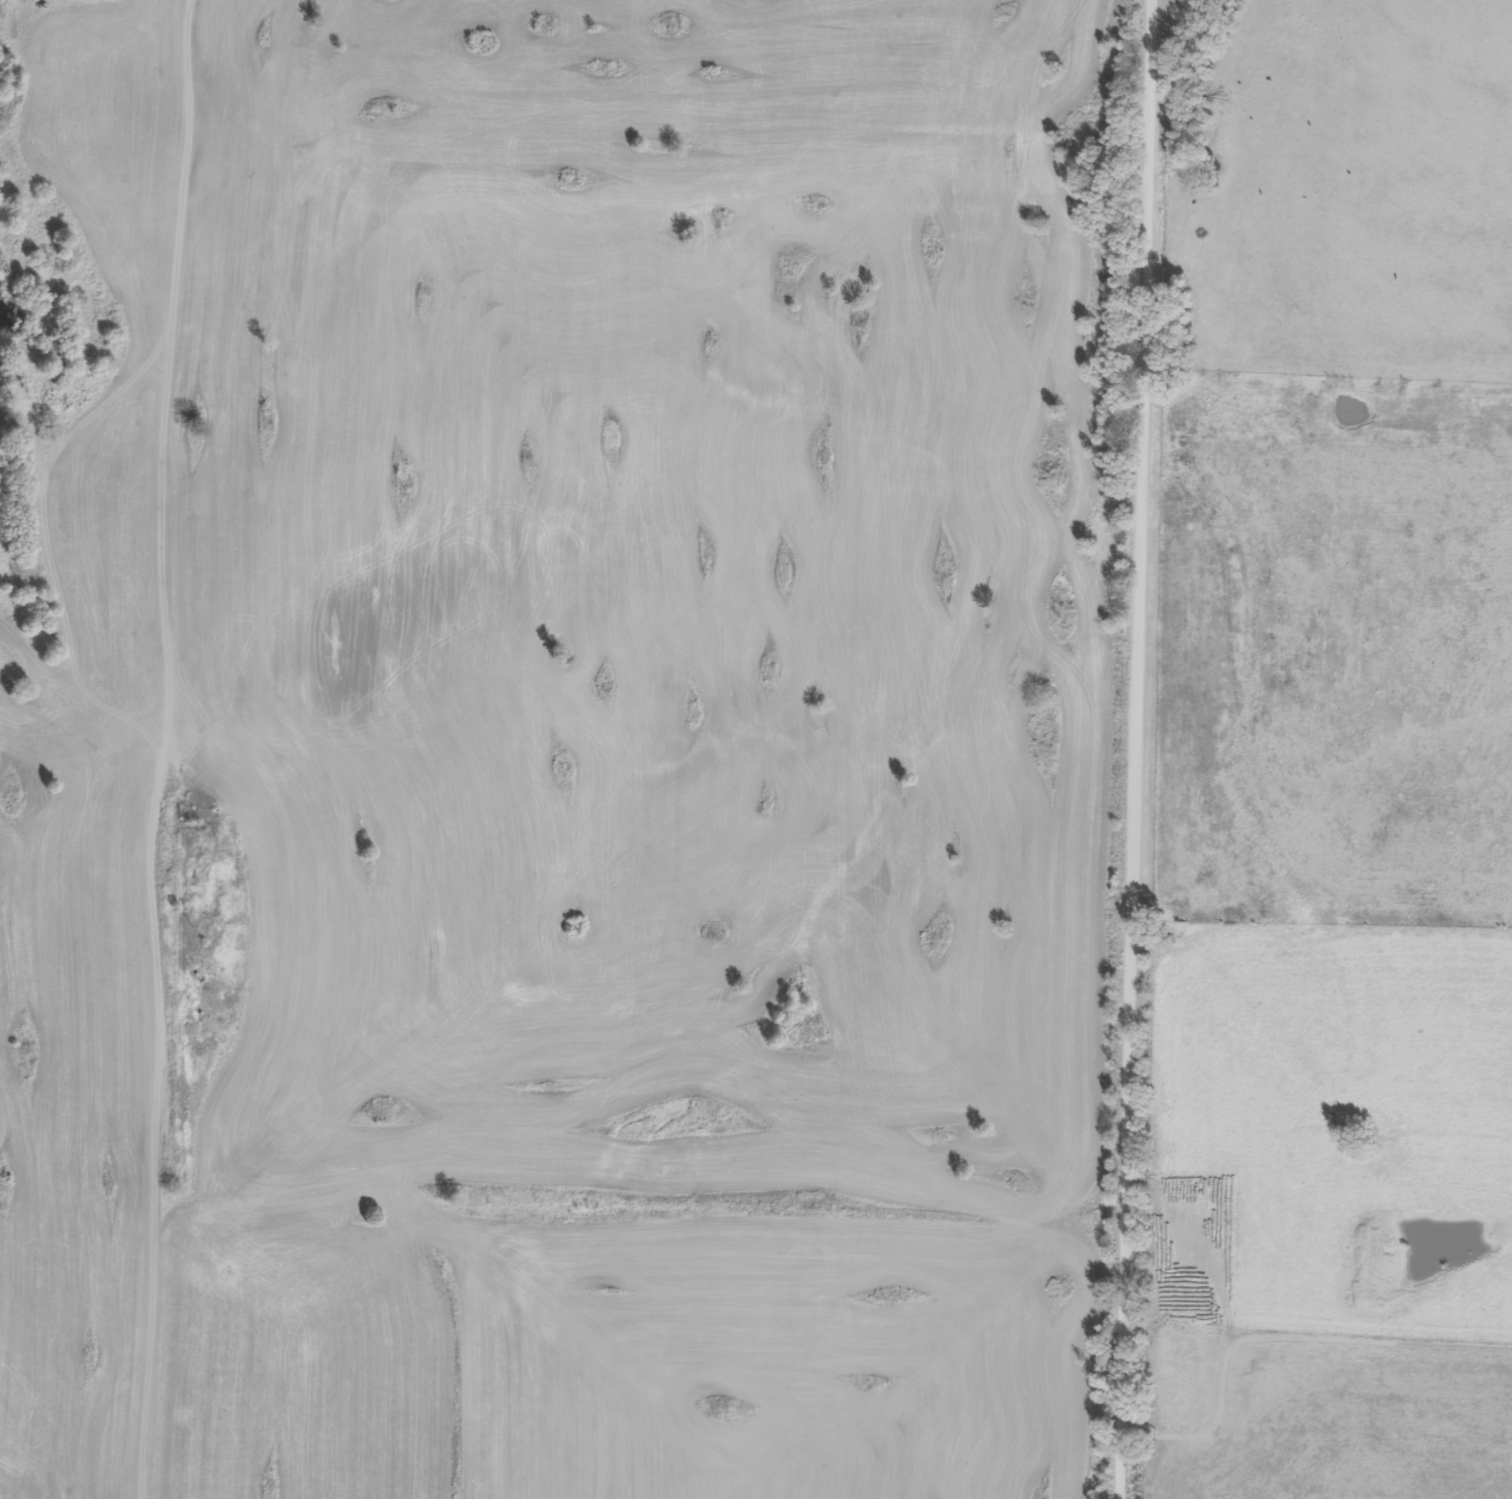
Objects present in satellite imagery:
road: (1135, 749)

